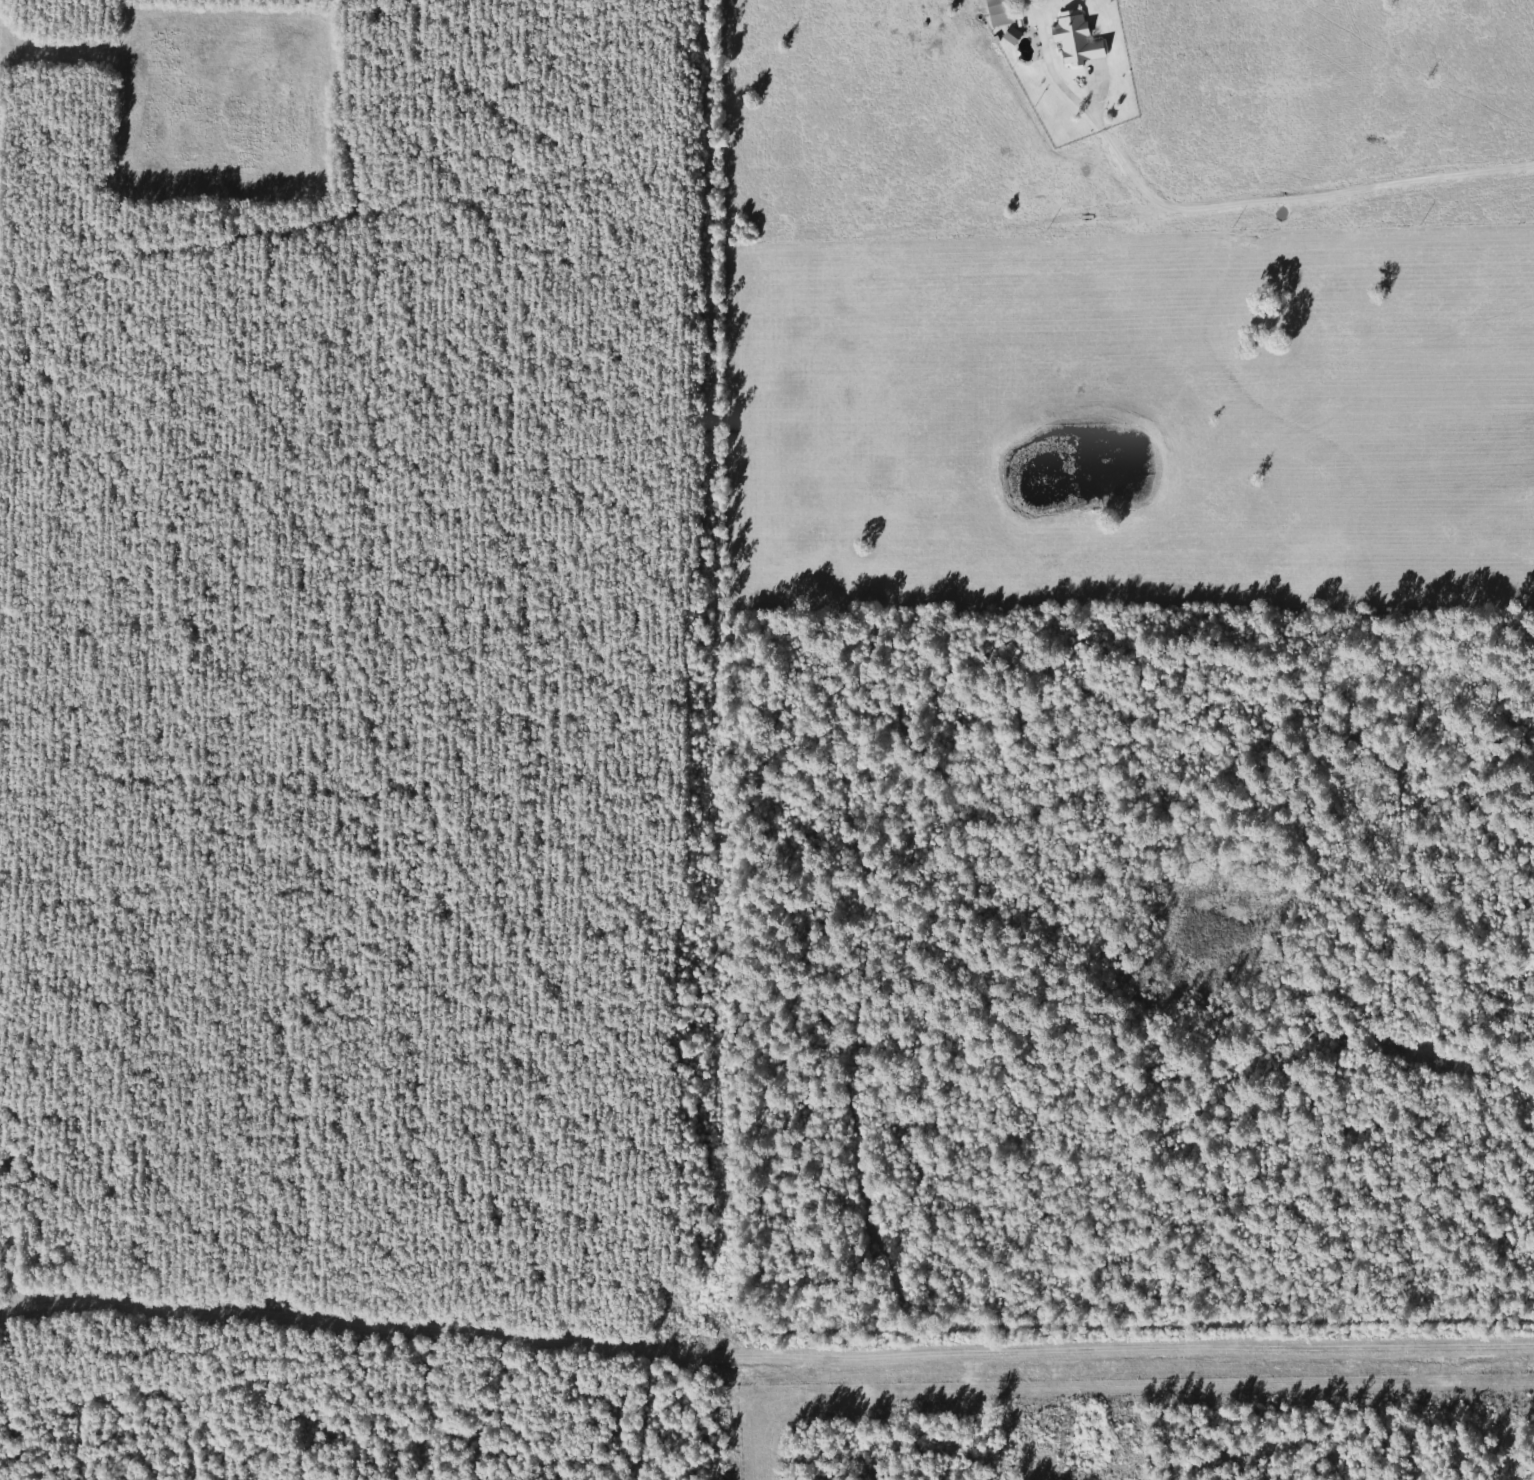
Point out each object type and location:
building: (1000, 12)
building: (1077, 41)
road: (1227, 205)

